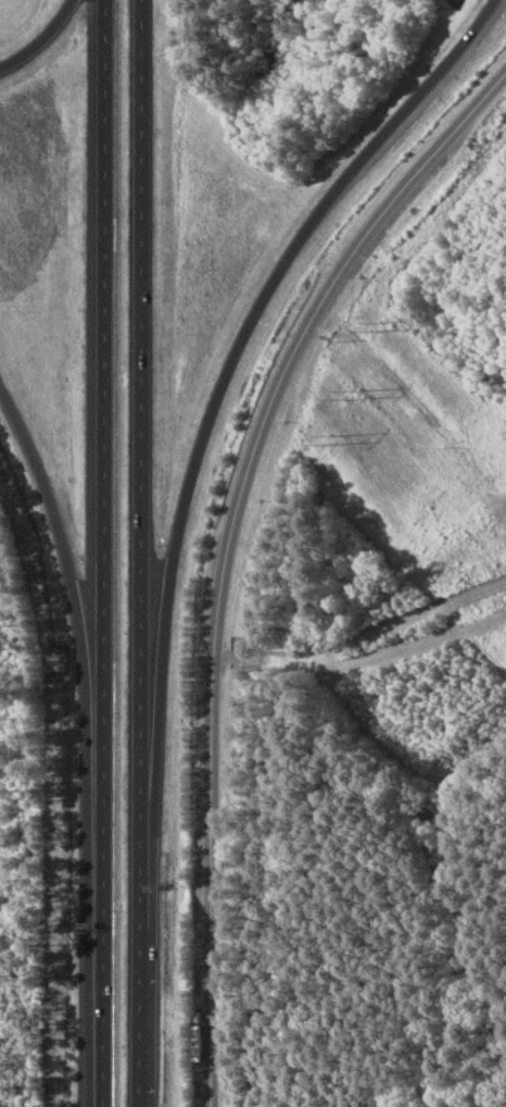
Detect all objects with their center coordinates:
road: (42, 38)
power tower: (379, 326)
road: (233, 351)
power tower: (347, 395)
power tower: (331, 443)
road: (141, 552)
road: (102, 553)
road: (244, 557)
road: (66, 571)

